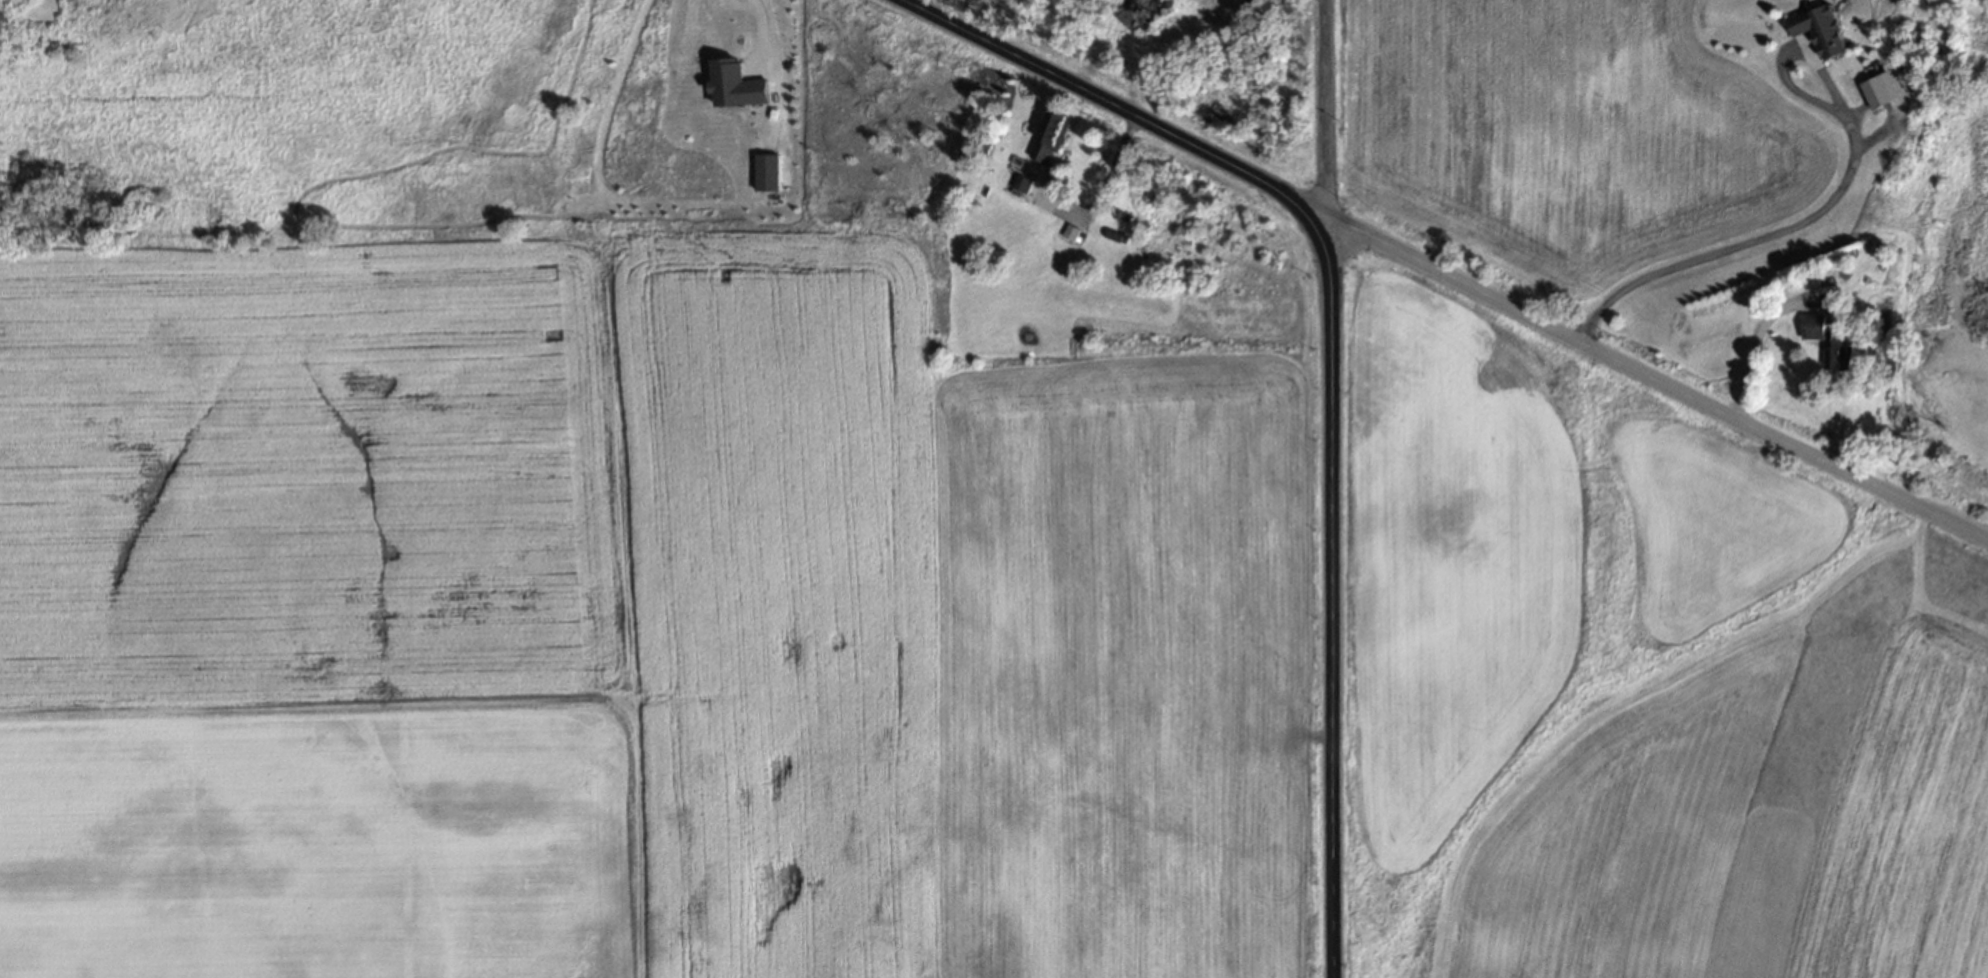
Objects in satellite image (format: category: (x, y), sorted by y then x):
building: (1253, 4)
building: (1142, 14)
building: (1820, 30)
road: (764, 31)
building: (1878, 93)
road: (1333, 110)
building: (1049, 136)
building: (767, 173)
building: (1021, 183)
road: (1790, 228)
road: (1752, 342)
building: (1827, 342)
road: (1333, 367)
road: (1654, 372)

